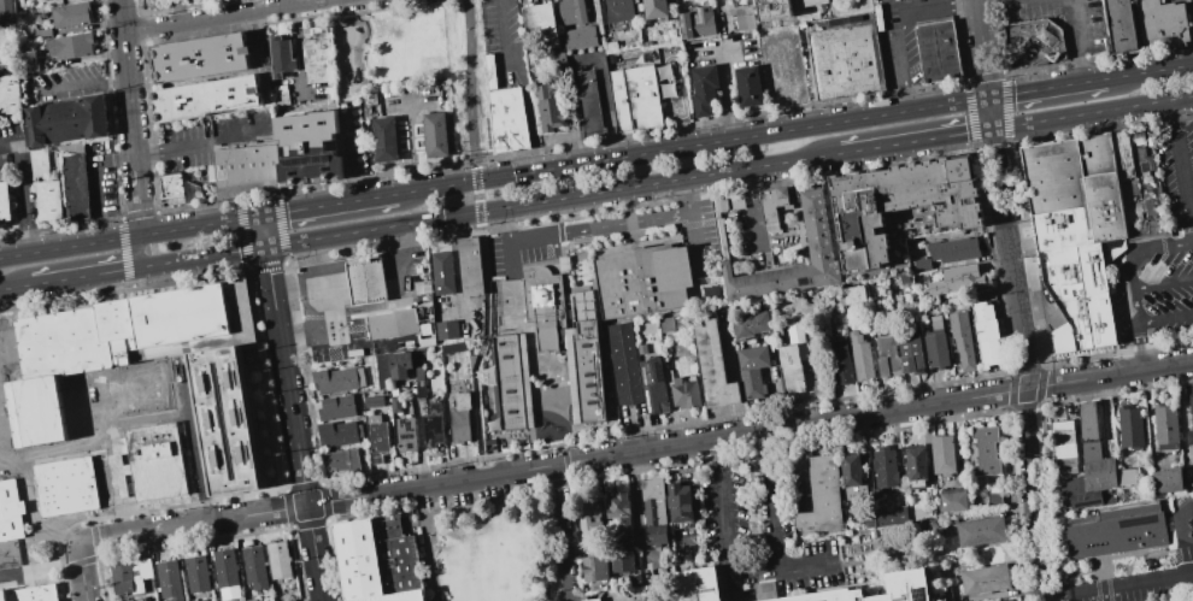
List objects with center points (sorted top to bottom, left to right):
road: (980, 0)
parking lot: (1159, 0)
parking lot: (881, 1)
building: (810, 2)
building: (654, 8)
building: (617, 10)
building: (771, 10)
building: (7, 12)
building: (571, 12)
building: (69, 14)
road: (221, 16)
building: (541, 20)
parking lot: (1064, 20)
building: (695, 22)
building: (744, 22)
building: (1162, 23)
building: (1121, 25)
road: (901, 26)
building: (41, 33)
road: (501, 34)
building: (580, 37)
parking lot: (903, 37)
road: (1076, 41)
building: (1034, 42)
building: (69, 46)
road: (296, 51)
building: (939, 51)
building: (280, 55)
building: (316, 55)
building: (200, 57)
park: (419, 59)
building: (29, 61)
building: (848, 61)
road: (1150, 72)
parking lot: (64, 83)
road: (77, 86)
building: (747, 86)
road: (1046, 88)
building: (703, 89)
building: (10, 95)
road: (725, 96)
building: (204, 98)
building: (282, 98)
building: (634, 98)
traffic signals: (988, 98)
road: (952, 102)
building: (587, 105)
building: (548, 108)
road: (1092, 113)
road: (129, 118)
building: (507, 120)
building: (65, 122)
road: (683, 124)
parking lot: (241, 129)
traffic signals: (993, 130)
building: (435, 135)
road: (231, 139)
building: (383, 139)
road: (916, 141)
road: (177, 146)
building: (307, 147)
parking lot: (189, 152)
road: (656, 152)
building: (1121, 153)
building: (1139, 155)
rooftop solar panel: (310, 158)
building: (37, 163)
building: (4, 165)
building: (247, 170)
parking lot: (18, 172)
road: (1181, 172)
road: (96, 183)
building: (75, 187)
building: (171, 189)
road: (22, 190)
building: (1128, 190)
road: (576, 196)
building: (48, 200)
building: (4, 201)
building: (899, 204)
building: (1142, 204)
road: (329, 205)
road: (627, 206)
building: (771, 206)
road: (752, 208)
traffic signals: (263, 216)
road: (558, 217)
road: (599, 228)
building: (1145, 228)
road: (264, 231)
building: (1074, 234)
road: (131, 236)
road: (481, 238)
building: (817, 238)
road: (289, 243)
road: (695, 243)
road: (1177, 244)
traffic signals: (266, 247)
building: (953, 249)
road: (136, 252)
road: (125, 254)
parking lot: (1160, 257)
road: (200, 258)
road: (511, 258)
road: (394, 261)
building: (919, 264)
road: (364, 266)
building: (469, 266)
road: (269, 267)
road: (1153, 267)
building: (441, 272)
road: (1127, 272)
road: (333, 275)
road: (70, 278)
road: (396, 279)
building: (956, 279)
building: (366, 281)
building: (642, 281)
road: (334, 283)
road: (1162, 283)
road: (295, 284)
road: (366, 284)
road: (4, 289)
building: (853, 294)
road: (402, 297)
road: (1016, 300)
gas station: (366, 304)
building: (542, 306)
road: (322, 308)
road: (1164, 318)
building: (669, 324)
building: (750, 324)
building: (393, 325)
building: (446, 330)
building: (794, 332)
building: (985, 334)
building: (960, 340)
building: (935, 343)
road: (1139, 346)
building: (886, 354)
building: (910, 354)
building: (859, 355)
building: (839, 360)
building: (623, 363)
building: (399, 364)
building: (712, 366)
building: (791, 367)
building: (752, 370)
building: (382, 371)
rooftop solar panel: (659, 371)
building: (583, 372)
rooftop solar panel: (645, 373)
building: (337, 379)
building: (510, 382)
building: (653, 387)
building: (683, 391)
rooftop solar panel: (647, 399)
building: (374, 401)
building: (394, 403)
building: (336, 407)
building: (222, 411)
building: (459, 417)
building: (1189, 423)
building: (431, 425)
building: (1129, 426)
building: (1165, 426)
building: (337, 432)
building: (404, 434)
building: (376, 438)
road: (194, 442)
road: (296, 444)
building: (1063, 444)
building: (983, 450)
road: (635, 452)
building: (942, 454)
building: (1089, 456)
building: (342, 460)
building: (154, 461)
building: (913, 464)
building: (117, 465)
building: (883, 466)
building: (851, 476)
building: (1126, 476)
building: (1166, 479)
building: (65, 487)
building: (822, 493)
road: (771, 497)
building: (993, 497)
building: (1087, 499)
building: (953, 500)
building: (678, 503)
building: (10, 511)
building: (653, 511)
building: (618, 513)
road: (422, 517)
building: (589, 517)
building: (886, 518)
rooftop solar panel: (1138, 520)
road: (724, 523)
building: (1126, 529)
building: (980, 530)
road: (563, 532)
park: (495, 549)
building: (280, 559)
building: (378, 559)
road: (809, 560)
building: (622, 561)
building: (255, 565)
building: (225, 566)
road: (40, 568)
building: (595, 568)
building: (196, 571)
road: (431, 573)
road: (81, 575)
building: (169, 575)
building: (131, 576)
building: (985, 579)
building: (704, 584)
road: (1116, 584)
building: (764, 589)
building: (875, 590)
building: (30, 594)
building: (141, 600)
building: (200, 600)
building: (590, 600)
rooftop solar panel: (919, 600)
building: (1003, 600)

